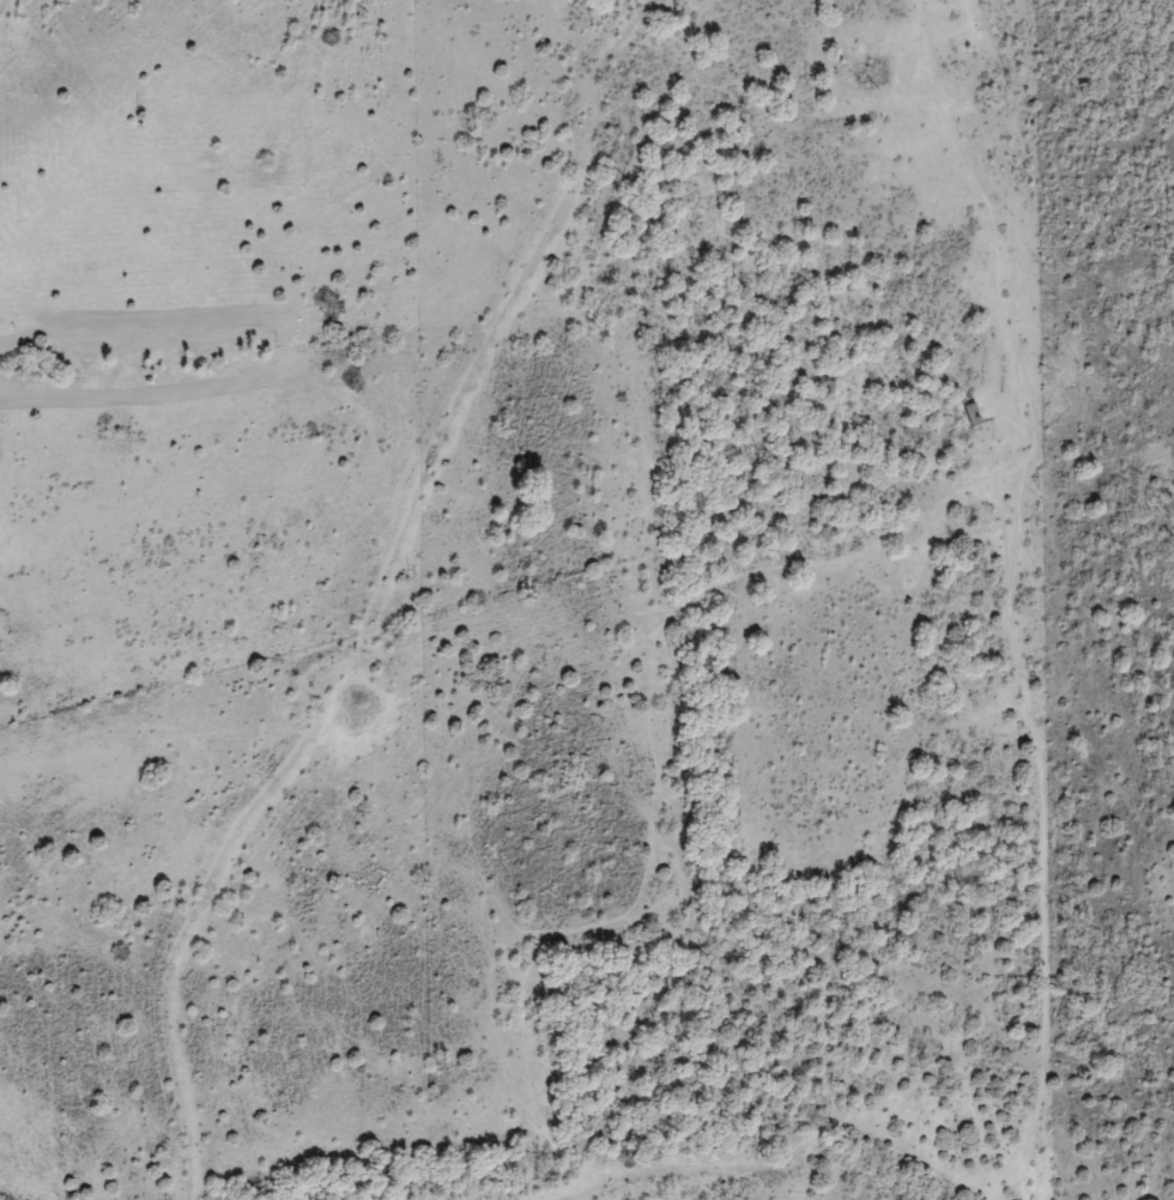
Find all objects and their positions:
building: (870, 74)
building: (969, 416)
road: (332, 622)
road: (1071, 768)

